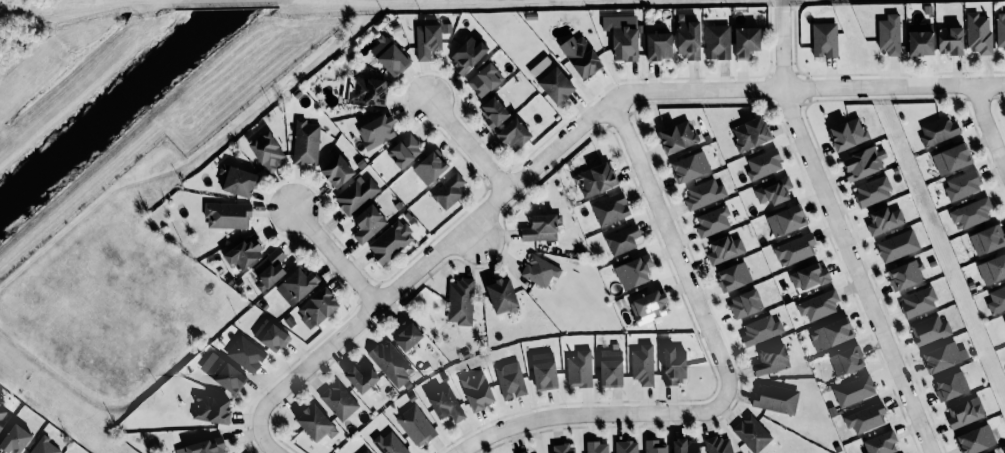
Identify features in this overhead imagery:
road: (103, 5)
building: (1000, 29)
building: (978, 33)
building: (888, 34)
building: (622, 35)
building: (920, 38)
building: (688, 39)
building: (824, 39)
building: (949, 39)
building: (427, 40)
building: (717, 41)
building: (745, 41)
building: (658, 45)
building: (467, 55)
building: (388, 56)
building: (580, 56)
building: (484, 79)
building: (555, 85)
building: (367, 90)
building: (493, 112)
road: (990, 120)
road: (582, 127)
building: (376, 130)
building: (937, 130)
building: (749, 133)
building: (847, 133)
building: (513, 134)
building: (677, 136)
building: (305, 142)
road: (469, 143)
building: (404, 150)
building: (267, 151)
building: (950, 159)
building: (862, 162)
building: (763, 164)
building: (689, 166)
building: (428, 167)
building: (336, 171)
building: (594, 178)
building: (238, 181)
building: (963, 184)
building: (773, 190)
building: (447, 191)
building: (871, 191)
building: (703, 193)
building: (355, 194)
building: (610, 208)
building: (970, 213)
building: (227, 214)
building: (883, 219)
building: (785, 220)
building: (711, 221)
building: (367, 223)
building: (540, 227)
road: (841, 230)
road: (472, 236)
building: (622, 239)
building: (986, 239)
building: (390, 241)
building: (897, 245)
building: (724, 249)
building: (794, 249)
building: (243, 252)
road: (336, 253)
building: (992, 268)
building: (268, 269)
building: (539, 270)
building: (633, 271)
building: (905, 274)
building: (733, 276)
building: (807, 276)
building: (296, 285)
building: (501, 294)
building: (996, 299)
building: (460, 301)
building: (918, 301)
building: (744, 302)
building: (818, 304)
building: (647, 306)
building: (316, 307)
building: (1004, 319)
building: (760, 330)
building: (929, 330)
building: (406, 334)
building: (830, 334)
building: (270, 335)
building: (245, 353)
building: (943, 356)
building: (770, 359)
building: (845, 359)
building: (391, 362)
building: (642, 364)
building: (673, 366)
building: (610, 367)
building: (579, 368)
building: (543, 370)
building: (222, 373)
building: (361, 376)
road: (725, 377)
building: (510, 381)
building: (950, 384)
building: (476, 390)
building: (853, 390)
building: (775, 398)
building: (339, 400)
building: (445, 404)
building: (210, 408)
building: (964, 411)
building: (3, 415)
building: (865, 417)
building: (315, 422)
building: (415, 425)
building: (751, 432)
road: (262, 436)
building: (15, 439)
building: (975, 439)
building: (880, 442)
building: (389, 443)
building: (717, 444)
building: (44, 446)
building: (203, 446)
building: (626, 446)
building: (655, 446)
building: (684, 446)
building: (596, 447)
building: (562, 448)
building: (364, 451)
building: (522, 452)
building: (994, 452)
building: (995, 452)

